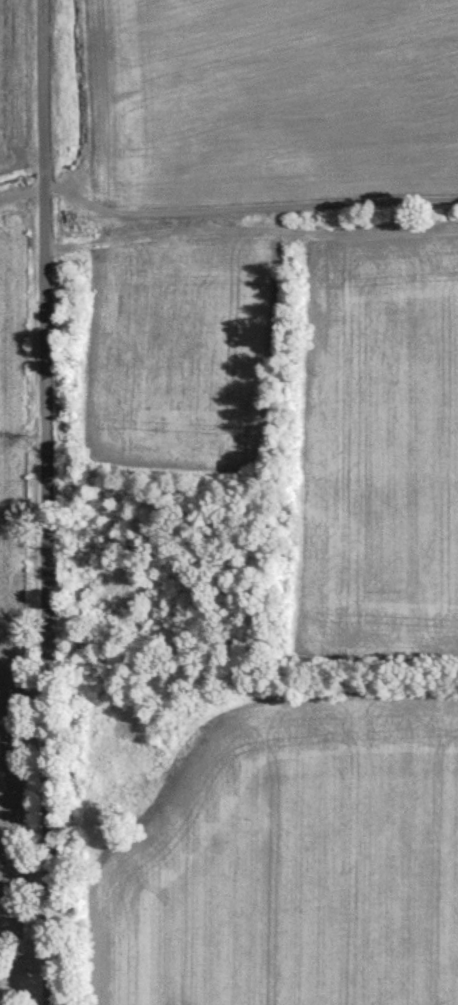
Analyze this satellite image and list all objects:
road: (54, 502)

